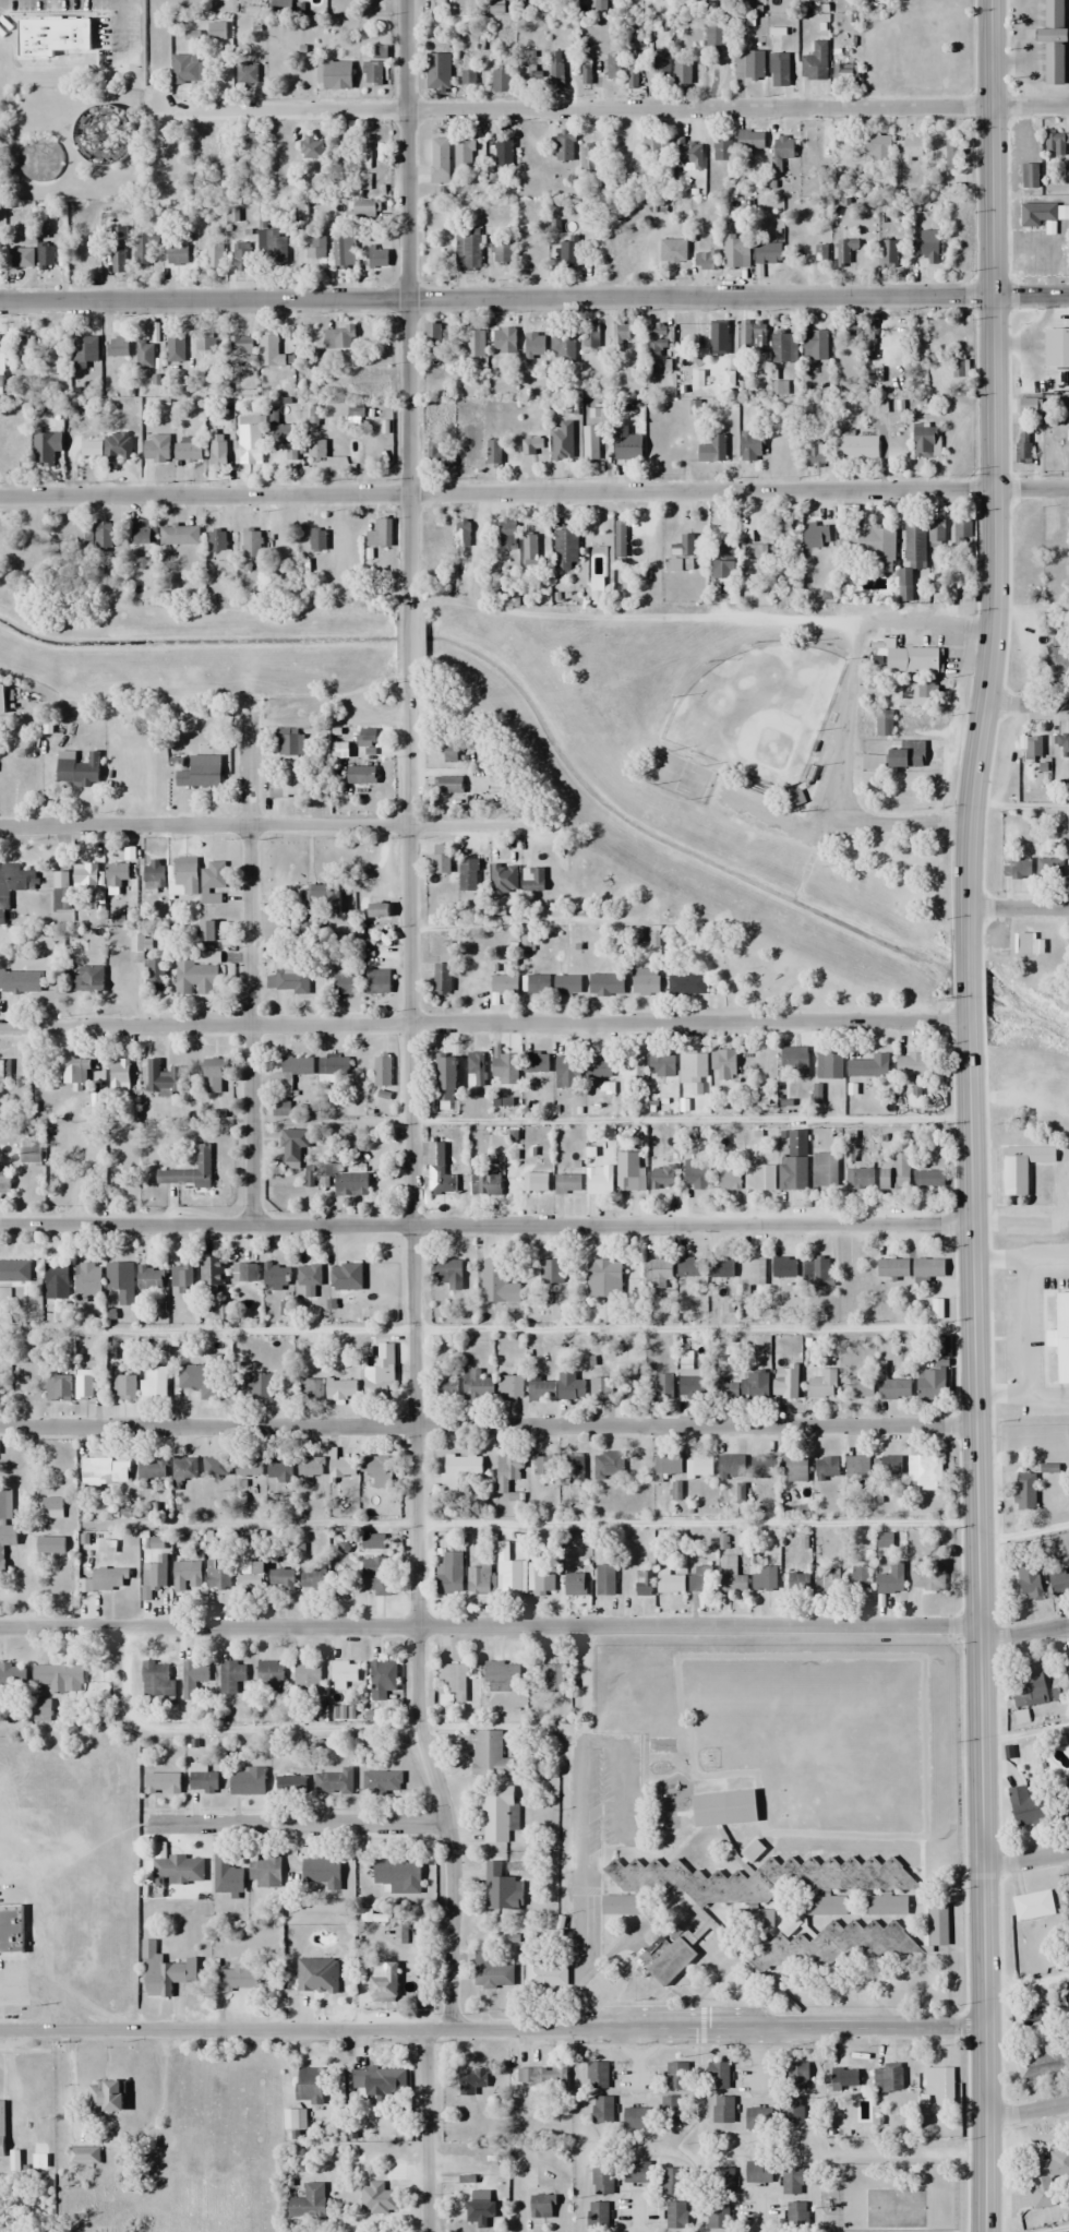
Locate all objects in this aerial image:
building: (53, 16)
building: (24, 29)
building: (714, 37)
building: (1054, 41)
building: (815, 62)
building: (662, 64)
building: (748, 64)
building: (633, 67)
building: (612, 68)
building: (556, 69)
building: (779, 69)
building: (189, 70)
building: (372, 72)
building: (683, 72)
building: (842, 73)
building: (247, 74)
building: (337, 75)
building: (530, 76)
building: (469, 77)
building: (587, 77)
building: (433, 79)
building: (501, 80)
road: (610, 107)
building: (752, 140)
building: (812, 142)
building: (251, 143)
building: (1056, 145)
building: (564, 146)
building: (656, 146)
building: (311, 148)
building: (783, 148)
building: (877, 148)
building: (912, 148)
building: (722, 150)
building: (463, 154)
building: (504, 155)
building: (589, 159)
building: (439, 160)
building: (1030, 179)
building: (363, 206)
building: (1045, 214)
building: (317, 242)
building: (272, 246)
building: (929, 248)
building: (467, 249)
building: (144, 250)
building: (673, 250)
building: (118, 251)
building: (343, 252)
building: (736, 252)
building: (768, 252)
building: (844, 252)
building: (568, 253)
building: (889, 254)
building: (177, 255)
building: (634, 255)
building: (820, 255)
building: (46, 256)
building: (214, 256)
building: (242, 256)
building: (19, 258)
building: (379, 258)
building: (706, 261)
road: (533, 299)
road: (404, 303)
building: (853, 327)
building: (620, 332)
building: (591, 336)
building: (339, 337)
building: (432, 337)
building: (758, 337)
building: (718, 338)
building: (657, 341)
building: (504, 342)
building: (205, 344)
building: (473, 344)
building: (816, 345)
building: (534, 346)
building: (118, 347)
building: (241, 347)
building: (563, 347)
building: (175, 348)
building: (782, 348)
building: (271, 349)
building: (84, 351)
building: (23, 354)
building: (144, 355)
building: (958, 368)
building: (1, 386)
building: (1029, 406)
building: (280, 433)
building: (249, 439)
building: (923, 440)
building: (562, 442)
building: (471, 444)
building: (591, 444)
building: (531, 445)
building: (1023, 446)
building: (111, 447)
building: (628, 447)
building: (750, 447)
building: (856, 447)
building: (156, 449)
building: (46, 450)
building: (494, 450)
building: (718, 450)
building: (315, 451)
building: (188, 452)
building: (218, 453)
building: (439, 454)
building: (816, 457)
road: (993, 475)
road: (534, 494)
building: (936, 532)
building: (145, 533)
building: (963, 533)
building: (463, 534)
building: (380, 535)
building: (95, 536)
building: (180, 536)
building: (817, 537)
building: (509, 539)
building: (620, 539)
building: (317, 540)
building: (216, 541)
building: (252, 545)
building: (868, 545)
building: (530, 547)
building: (684, 547)
building: (1060, 548)
building: (566, 549)
building: (756, 552)
building: (912, 557)
building: (724, 562)
road: (406, 637)
building: (912, 661)
building: (1057, 664)
building: (924, 695)
building: (2, 696)
road: (1026, 704)
park: (755, 712)
park: (701, 718)
building: (884, 721)
building: (289, 743)
building: (1062, 745)
building: (1033, 749)
building: (451, 752)
building: (908, 755)
building: (77, 767)
building: (199, 776)
building: (361, 776)
building: (447, 785)
building: (286, 787)
road: (268, 826)
building: (442, 860)
building: (1017, 869)
building: (1050, 869)
building: (85, 873)
building: (468, 873)
building: (184, 875)
building: (214, 878)
building: (15, 879)
building: (153, 879)
building: (503, 879)
building: (536, 880)
building: (117, 884)
building: (59, 899)
building: (379, 909)
road: (1017, 909)
building: (207, 930)
building: (525, 942)
building: (1028, 945)
road: (249, 975)
building: (156, 976)
building: (195, 976)
road: (965, 976)
building: (442, 977)
building: (87, 979)
building: (287, 979)
building: (20, 981)
building: (377, 981)
building: (646, 981)
building: (347, 983)
building: (537, 983)
building: (503, 984)
building: (567, 984)
building: (606, 984)
building: (686, 984)
road: (483, 1024)
building: (536, 1062)
building: (661, 1062)
building: (794, 1062)
building: (630, 1065)
building: (725, 1065)
building: (829, 1065)
building: (477, 1066)
building: (598, 1066)
building: (868, 1066)
building: (917, 1066)
building: (334, 1067)
building: (693, 1067)
building: (505, 1069)
building: (382, 1071)
building: (567, 1071)
building: (3, 1073)
building: (75, 1073)
building: (214, 1076)
building: (285, 1076)
building: (163, 1078)
building: (447, 1078)
building: (120, 1082)
building: (280, 1109)
building: (293, 1146)
building: (31, 1149)
building: (794, 1162)
building: (1023, 1167)
building: (825, 1169)
building: (627, 1170)
building: (191, 1171)
building: (897, 1172)
building: (663, 1177)
building: (696, 1177)
building: (759, 1177)
building: (861, 1178)
building: (729, 1179)
building: (929, 1180)
building: (4, 1181)
building: (441, 1181)
building: (485, 1181)
building: (598, 1181)
building: (536, 1182)
building: (569, 1182)
building: (351, 1184)
road: (484, 1225)
road: (1020, 1263)
building: (689, 1266)
building: (721, 1267)
building: (784, 1268)
building: (893, 1268)
building: (928, 1268)
building: (15, 1270)
building: (211, 1270)
building: (754, 1272)
building: (816, 1272)
building: (245, 1273)
building: (447, 1273)
building: (551, 1273)
building: (658, 1273)
building: (309, 1275)
building: (181, 1276)
building: (88, 1277)
building: (151, 1277)
building: (276, 1277)
building: (346, 1277)
building: (603, 1279)
building: (57, 1280)
building: (500, 1280)
building: (120, 1281)
building: (937, 1310)
road: (1022, 1328)
building: (1060, 1337)
road: (411, 1350)
building: (381, 1374)
building: (201, 1381)
building: (154, 1383)
building: (692, 1384)
building: (754, 1384)
building: (785, 1384)
building: (932, 1384)
building: (121, 1385)
building: (478, 1385)
building: (663, 1385)
building: (822, 1385)
building: (84, 1386)
building: (257, 1386)
building: (58, 1387)
building: (511, 1387)
building: (570, 1387)
building: (599, 1387)
building: (625, 1387)
building: (445, 1388)
building: (724, 1388)
building: (862, 1388)
building: (310, 1389)
building: (341, 1389)
building: (541, 1389)
building: (893, 1389)
road: (1021, 1394)
road: (488, 1425)
building: (668, 1464)
building: (608, 1465)
building: (248, 1466)
building: (542, 1466)
building: (701, 1466)
building: (731, 1466)
building: (762, 1466)
building: (216, 1467)
building: (311, 1467)
building: (575, 1467)
building: (890, 1467)
building: (184, 1468)
building: (343, 1468)
building: (857, 1468)
building: (152, 1469)
building: (508, 1469)
building: (796, 1469)
building: (828, 1469)
building: (280, 1470)
building: (458, 1470)
building: (105, 1471)
building: (377, 1471)
building: (925, 1471)
building: (1025, 1492)
building: (5, 1505)
building: (52, 1508)
building: (373, 1541)
building: (7, 1542)
building: (50, 1545)
building: (155, 1573)
building: (451, 1574)
building: (187, 1576)
building: (217, 1576)
building: (377, 1576)
building: (543, 1576)
building: (731, 1576)
building: (765, 1576)
building: (509, 1577)
building: (857, 1577)
building: (923, 1577)
building: (250, 1578)
building: (313, 1578)
building: (478, 1578)
building: (109, 1579)
building: (281, 1579)
building: (700, 1579)
building: (892, 1579)
building: (605, 1580)
building: (1031, 1580)
building: (670, 1582)
building: (827, 1582)
building: (644, 1583)
building: (798, 1583)
building: (1059, 1583)
building: (575, 1584)
road: (975, 1616)
road: (488, 1627)
road: (1022, 1634)
building: (1067, 1660)
building: (553, 1668)
building: (1067, 1671)
building: (344, 1672)
building: (231, 1675)
building: (307, 1675)
building: (12, 1676)
building: (195, 1676)
building: (269, 1676)
building: (503, 1676)
building: (60, 1678)
building: (157, 1679)
building: (383, 1680)
building: (453, 1682)
building: (1031, 1687)
building: (41, 1707)
building: (490, 1756)
building: (204, 1781)
building: (247, 1782)
building: (334, 1782)
building: (381, 1782)
building: (163, 1783)
building: (290, 1786)
building: (1062, 1794)
building: (1028, 1806)
building: (724, 1809)
building: (496, 1814)
road: (299, 1827)
road: (1024, 1860)
building: (178, 1870)
building: (265, 1872)
building: (322, 1873)
building: (397, 1875)
building: (227, 1877)
building: (500, 1890)
building: (1068, 1894)
building: (623, 1905)
building: (825, 1906)
building: (886, 1906)
building: (1034, 1906)
building: (753, 1920)
building: (938, 1925)
building: (11, 1930)
building: (686, 1955)
building: (809, 1960)
building: (492, 1971)
building: (164, 1972)
building: (317, 1976)
building: (546, 1976)
building: (235, 1979)
building: (382, 1983)
road: (491, 2028)
building: (1044, 2061)
building: (597, 2075)
building: (676, 2075)
building: (718, 2075)
building: (797, 2075)
building: (844, 2077)
building: (544, 2078)
building: (887, 2078)
building: (380, 2080)
building: (939, 2081)
building: (310, 2084)
building: (479, 2085)
building: (105, 2096)
building: (602, 2110)
building: (672, 2110)
building: (723, 2110)
building: (792, 2110)
road: (1025, 2113)
building: (637, 2118)
building: (758, 2120)
building: (1, 2127)
road: (424, 2129)
building: (83, 2156)
building: (636, 2172)
building: (759, 2172)
building: (1045, 2175)
building: (602, 2181)
building: (672, 2181)
building: (792, 2181)
building: (721, 2198)
building: (309, 2203)
building: (381, 2205)
building: (541, 2208)
building: (480, 2213)
building: (676, 2216)
building: (598, 2217)
building: (796, 2217)

